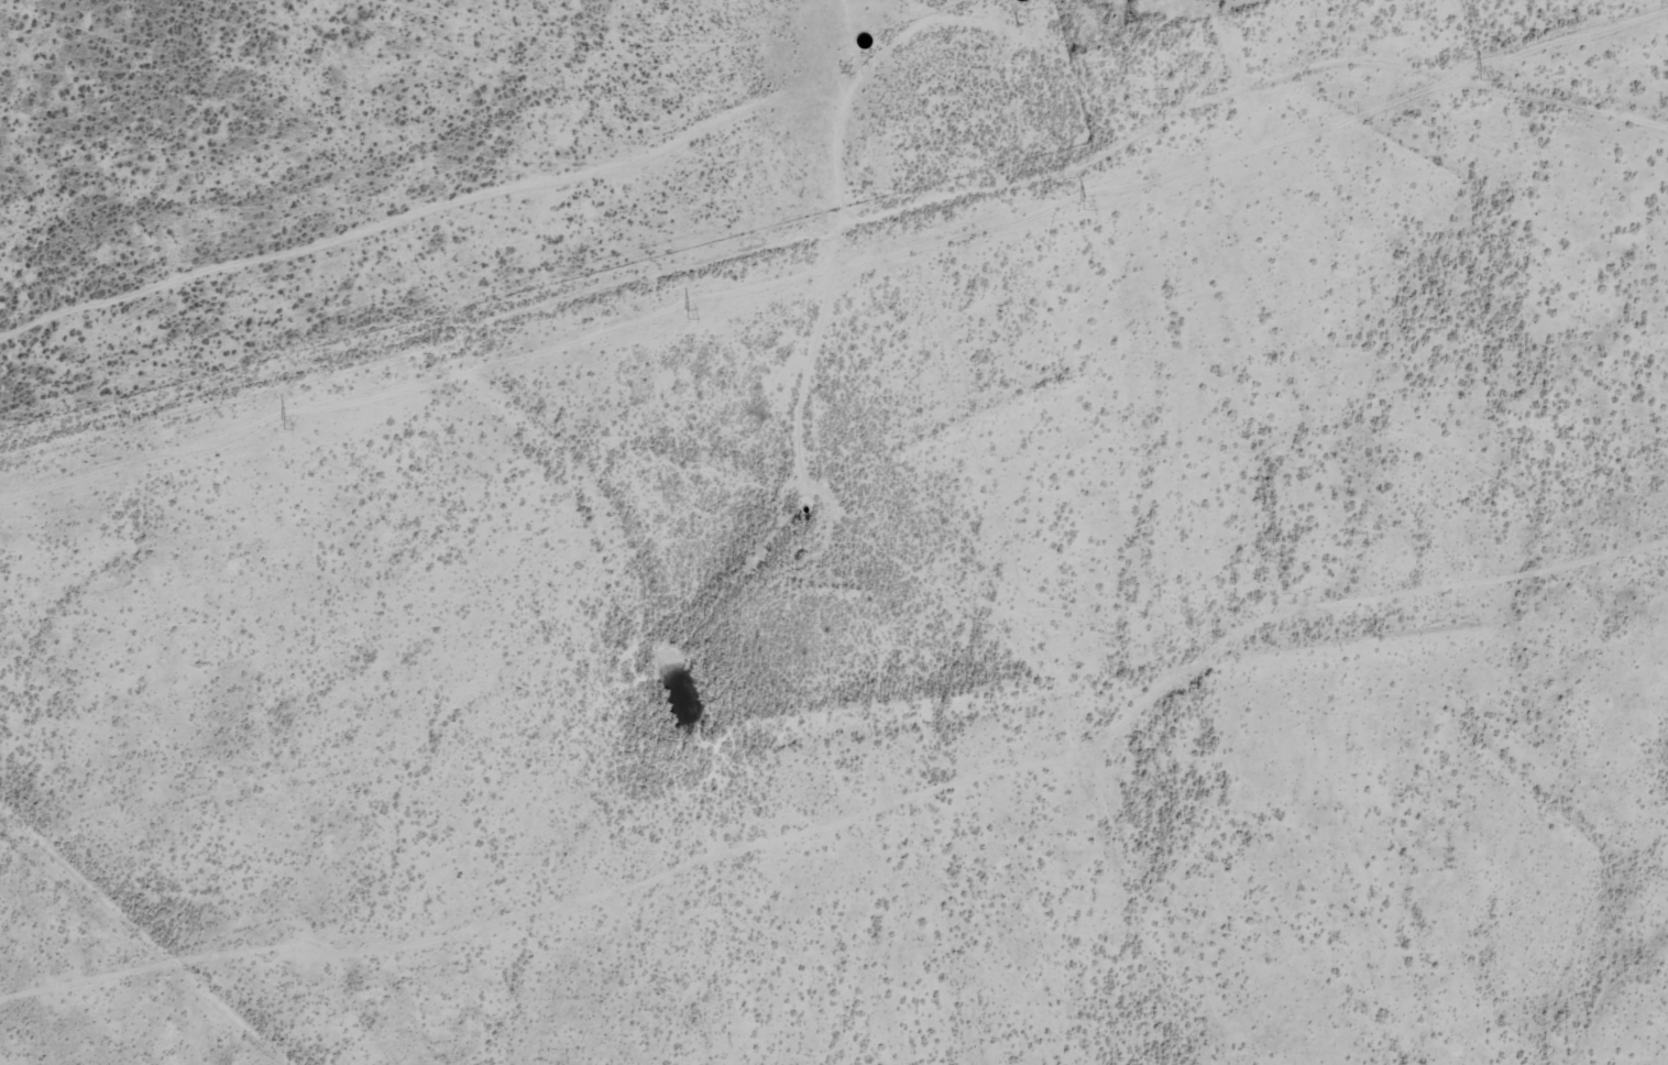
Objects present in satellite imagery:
power tower: (1475, 70)
power tower: (1079, 202)
power tower: (685, 312)
power tower: (282, 422)

